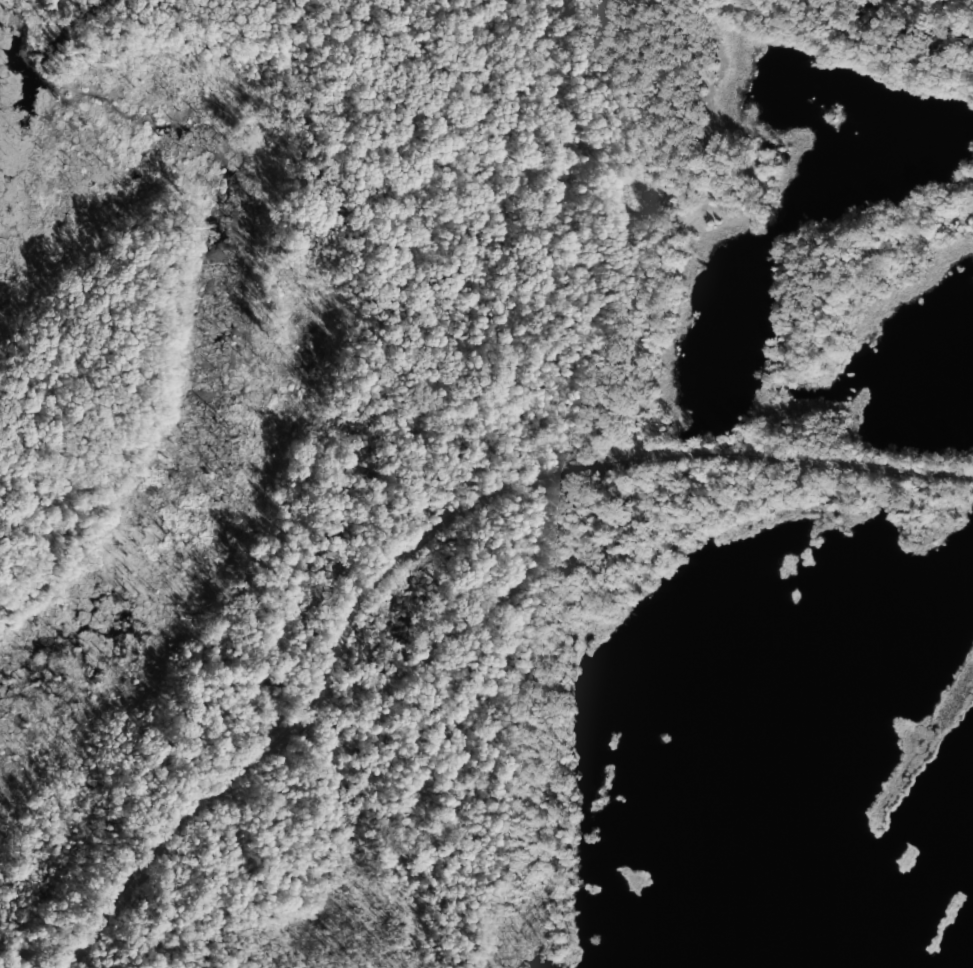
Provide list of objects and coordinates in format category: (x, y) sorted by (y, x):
road: (365, 597)
road: (239, 776)

